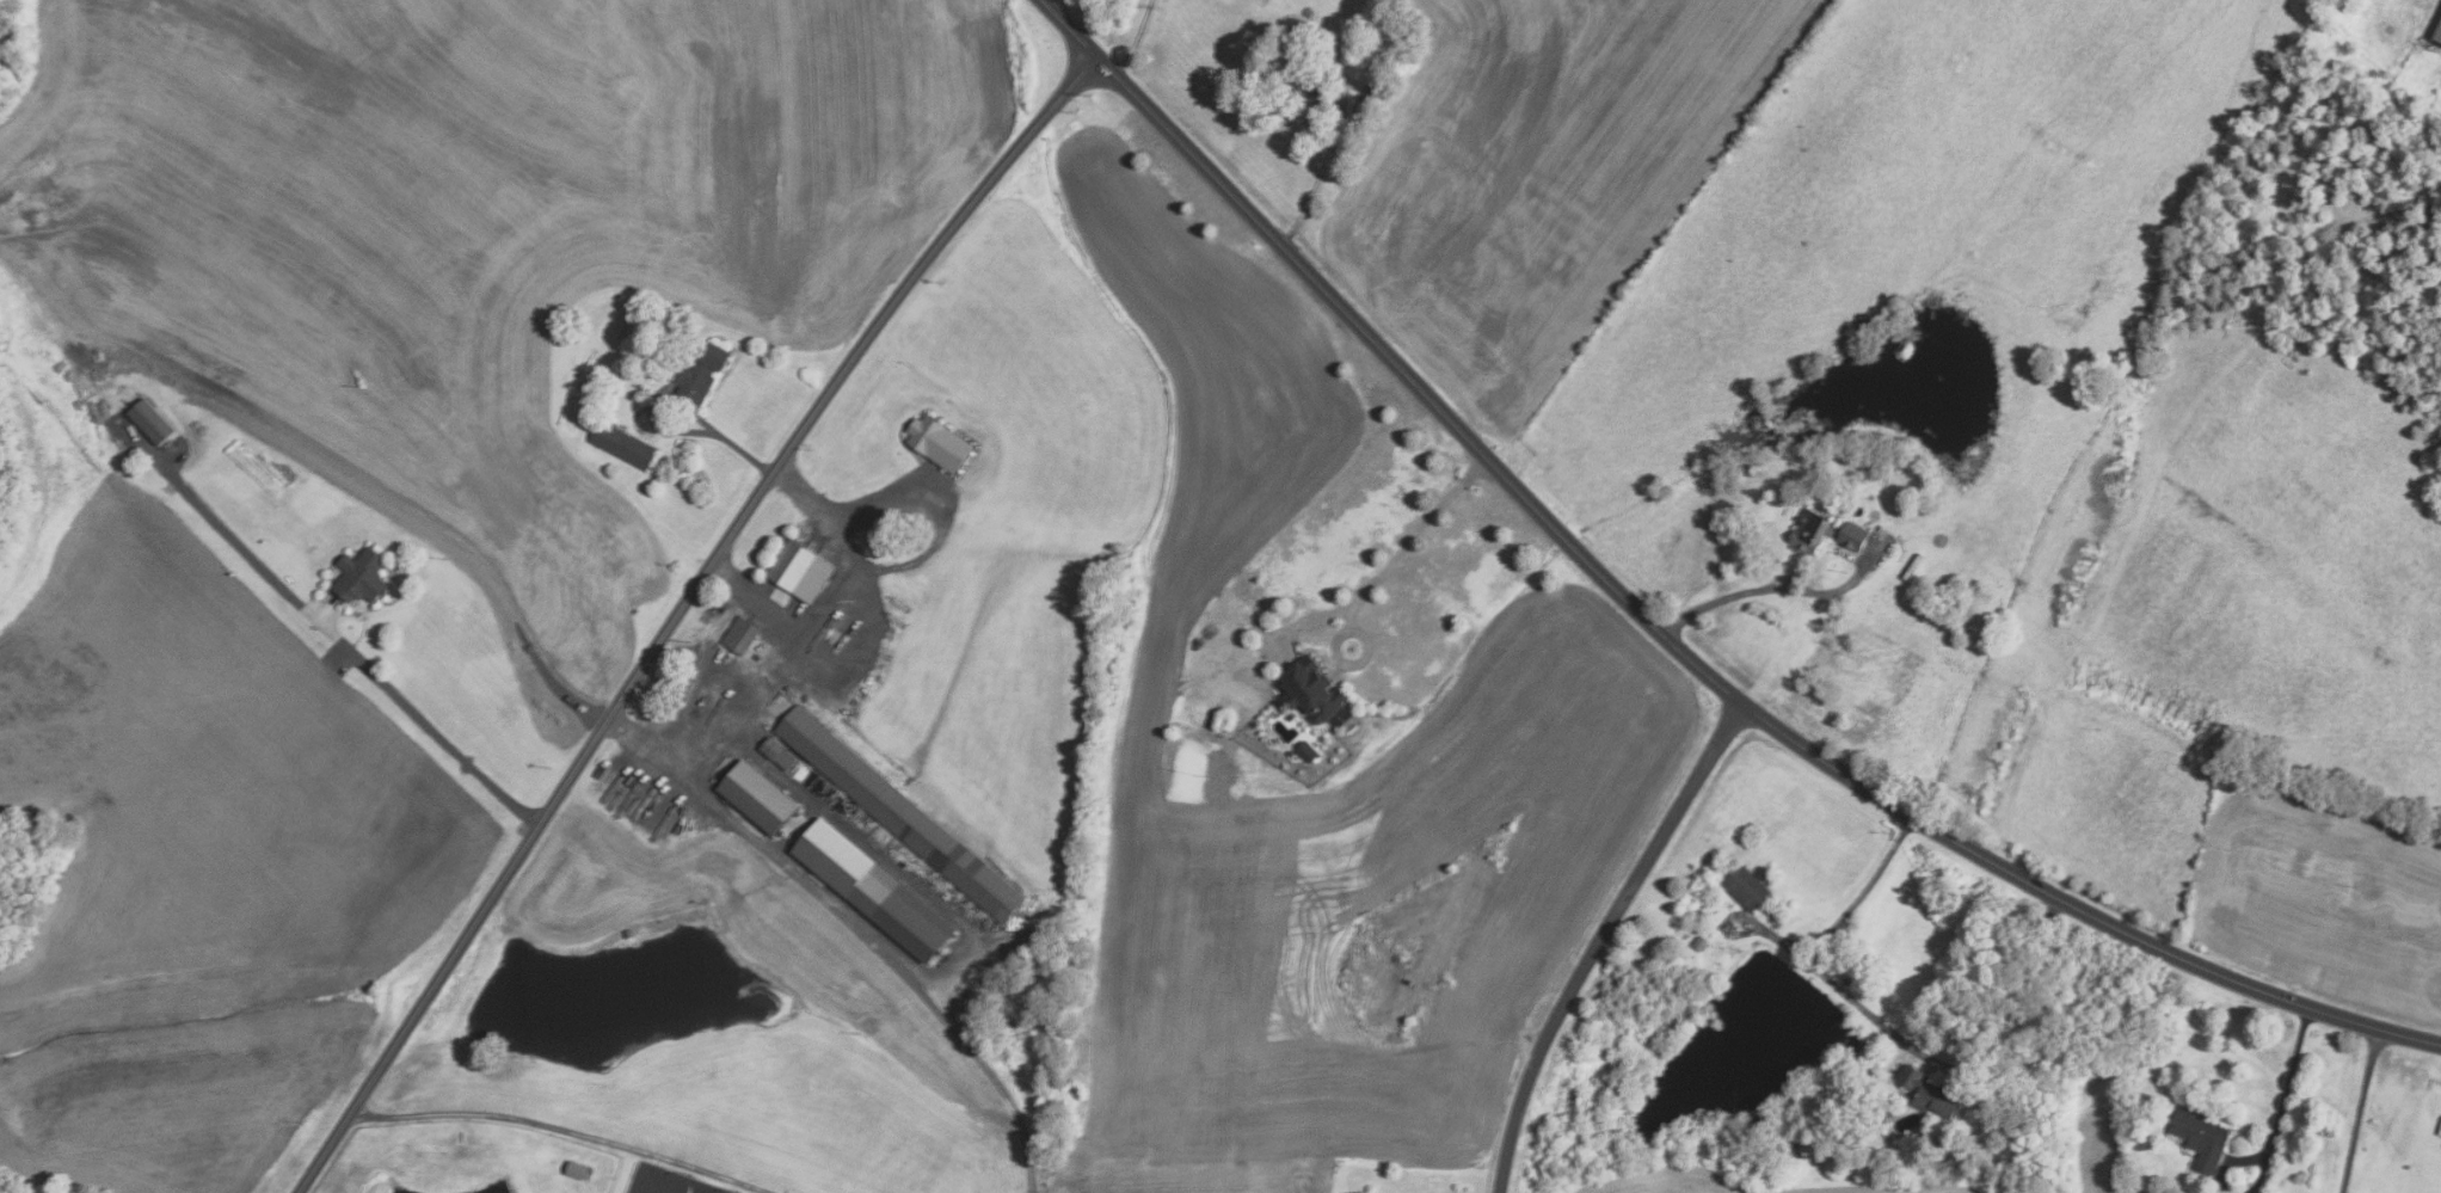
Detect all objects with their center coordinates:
building: (1308, 12)
building: (1287, 21)
building: (2437, 35)
road: (1136, 39)
building: (1308, 81)
building: (1371, 98)
road: (1317, 182)
building: (699, 369)
building: (149, 420)
road: (726, 437)
building: (936, 442)
building: (620, 444)
road: (801, 492)
road: (940, 519)
building: (1809, 531)
building: (1852, 535)
road: (1400, 553)
building: (799, 570)
building: (359, 576)
road: (1720, 595)
road: (678, 611)
road: (806, 611)
road: (1661, 633)
building: (740, 635)
building: (1314, 691)
road: (748, 701)
road: (437, 734)
building: (1308, 751)
building: (776, 754)
building: (757, 798)
building: (897, 812)
building: (1745, 887)
building: (871, 890)
road: (855, 930)
road: (1600, 936)
road: (1822, 941)
building: (1698, 942)
road: (1447, 1040)
road: (2286, 1081)
building: (1929, 1091)
road: (2357, 1111)
road: (565, 1127)
building: (2200, 1137)
building: (1785, 1150)
road: (2230, 1163)
building: (2406, 1167)
building: (574, 1169)
road: (2258, 1175)
crop: (1707, 1182)

